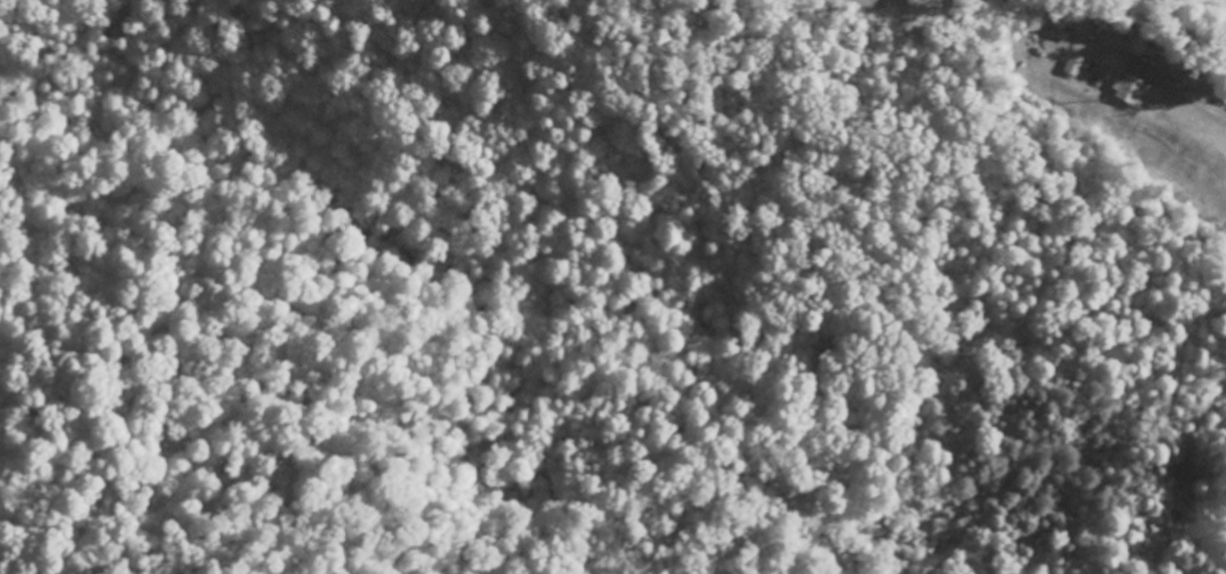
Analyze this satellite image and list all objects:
building: (917, 7)
building: (1069, 65)
road: (1174, 89)
building: (1126, 90)

